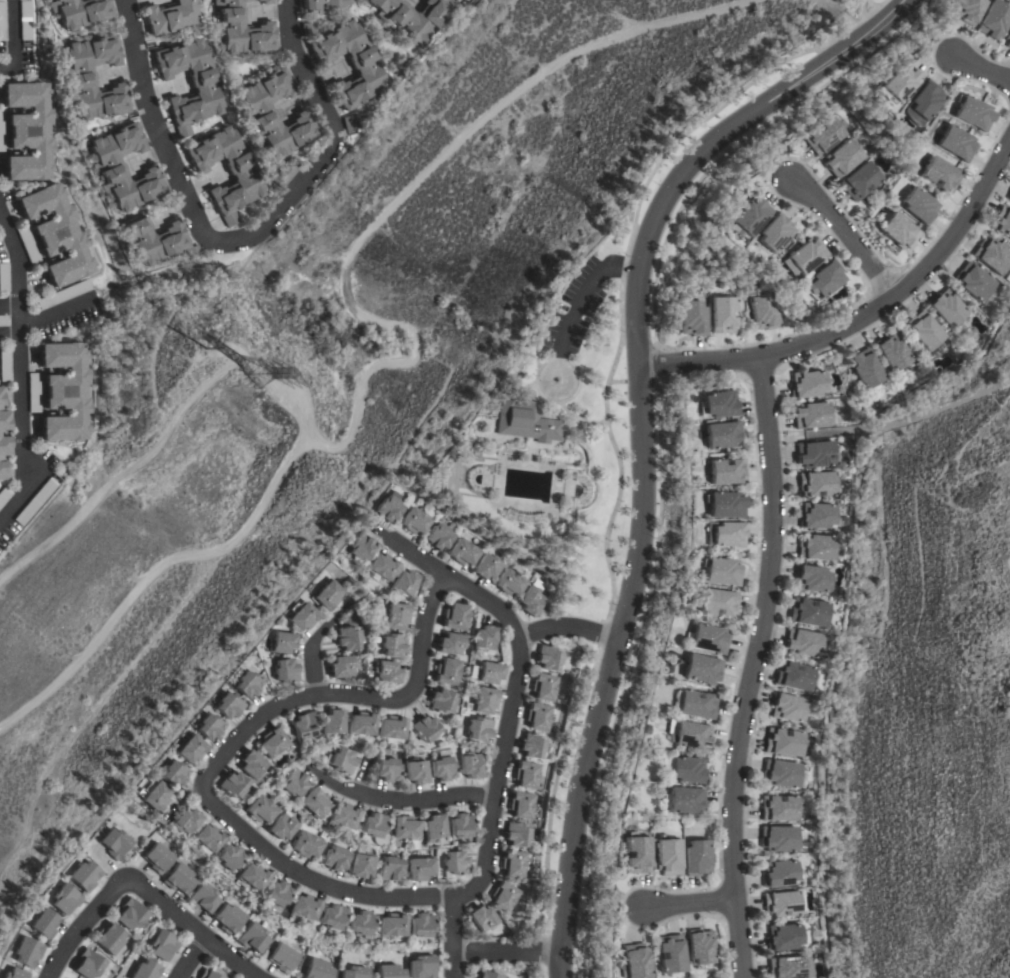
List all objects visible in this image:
building: (263, 1)
road: (870, 4)
building: (322, 5)
road: (860, 9)
building: (966, 10)
building: (80, 12)
building: (170, 16)
building: (412, 17)
building: (993, 19)
building: (26, 20)
building: (3, 21)
building: (307, 29)
building: (241, 30)
building: (1007, 39)
road: (16, 41)
building: (350, 63)
road: (981, 70)
building: (93, 78)
building: (897, 82)
building: (208, 89)
building: (920, 103)
building: (973, 112)
building: (275, 114)
building: (350, 122)
building: (27, 131)
building: (1, 133)
building: (822, 135)
building: (956, 143)
building: (841, 158)
building: (106, 167)
building: (283, 174)
building: (940, 174)
building: (245, 178)
building: (859, 181)
building: (1008, 197)
building: (919, 206)
building: (748, 217)
building: (1001, 220)
building: (898, 231)
building: (774, 233)
building: (55, 234)
road: (843, 235)
building: (1009, 237)
road: (239, 239)
building: (155, 240)
building: (27, 245)
building: (991, 255)
building: (803, 256)
building: (4, 277)
building: (822, 280)
building: (973, 281)
building: (63, 294)
road: (578, 297)
road: (10, 304)
building: (946, 307)
road: (56, 312)
building: (762, 312)
road: (861, 312)
building: (722, 315)
building: (692, 318)
building: (3, 320)
building: (923, 330)
road: (10, 336)
building: (892, 351)
building: (5, 364)
road: (21, 368)
power tower: (238, 368)
building: (864, 369)
building: (806, 384)
road: (566, 388)
building: (63, 391)
building: (33, 393)
building: (718, 404)
building: (3, 411)
building: (811, 415)
building: (525, 421)
road: (608, 431)
road: (639, 432)
building: (721, 434)
building: (815, 454)
building: (1, 458)
building: (725, 471)
building: (817, 484)
building: (4, 495)
building: (34, 502)
building: (724, 504)
building: (386, 509)
building: (816, 516)
building: (413, 521)
building: (724, 534)
building: (438, 536)
building: (358, 547)
building: (815, 547)
building: (463, 552)
building: (381, 567)
building: (486, 567)
building: (722, 572)
building: (811, 579)
building: (509, 582)
building: (403, 583)
building: (326, 595)
building: (532, 598)
building: (718, 602)
building: (808, 612)
building: (301, 616)
building: (396, 616)
building: (454, 617)
road: (566, 626)
building: (347, 639)
building: (484, 639)
building: (709, 639)
building: (280, 642)
building: (803, 642)
building: (451, 644)
building: (392, 645)
road: (309, 657)
building: (548, 658)
building: (341, 667)
road: (750, 667)
building: (702, 668)
building: (284, 671)
building: (386, 672)
building: (446, 672)
building: (488, 673)
building: (794, 675)
building: (247, 684)
building: (543, 687)
road: (345, 696)
building: (484, 700)
building: (441, 701)
building: (693, 703)
building: (228, 706)
building: (787, 707)
building: (537, 716)
building: (332, 723)
building: (361, 724)
building: (304, 725)
building: (209, 727)
road: (504, 728)
building: (424, 729)
building: (478, 729)
building: (391, 730)
building: (689, 734)
building: (783, 742)
building: (272, 743)
building: (531, 746)
building: (190, 749)
building: (342, 761)
building: (251, 765)
building: (470, 765)
building: (443, 766)
building: (387, 770)
building: (686, 770)
building: (416, 771)
building: (780, 773)
building: (173, 774)
building: (526, 775)
building: (293, 783)
building: (233, 785)
building: (152, 796)
road: (399, 797)
building: (684, 800)
building: (315, 803)
building: (520, 805)
building: (779, 808)
building: (259, 809)
building: (343, 816)
building: (185, 821)
building: (374, 825)
building: (461, 825)
building: (281, 827)
building: (433, 828)
building: (404, 829)
building: (516, 834)
building: (207, 838)
building: (778, 838)
building: (113, 843)
building: (306, 845)
building: (636, 853)
building: (667, 856)
building: (229, 857)
building: (157, 858)
building: (696, 858)
building: (334, 859)
building: (455, 863)
building: (513, 863)
building: (361, 865)
building: (420, 868)
building: (390, 869)
building: (779, 873)
building: (83, 876)
building: (252, 877)
building: (178, 878)
road: (308, 880)
building: (276, 893)
building: (503, 896)
building: (202, 898)
building: (64, 899)
building: (781, 903)
road: (686, 905)
building: (303, 907)
building: (130, 914)
building: (332, 917)
building: (482, 918)
building: (228, 919)
building: (43, 923)
building: (361, 923)
road: (81, 924)
building: (391, 925)
building: (421, 925)
road: (187, 928)
building: (252, 937)
building: (783, 937)
building: (108, 939)
building: (162, 944)
building: (699, 947)
building: (26, 952)
road: (505, 953)
building: (669, 953)
building: (282, 958)
road: (190, 959)
building: (633, 961)
building: (88, 964)
building: (421, 967)
building: (786, 967)
building: (316, 969)
building: (145, 970)
building: (388, 971)
building: (354, 972)
building: (14, 974)
building: (207, 974)
building: (485, 974)

